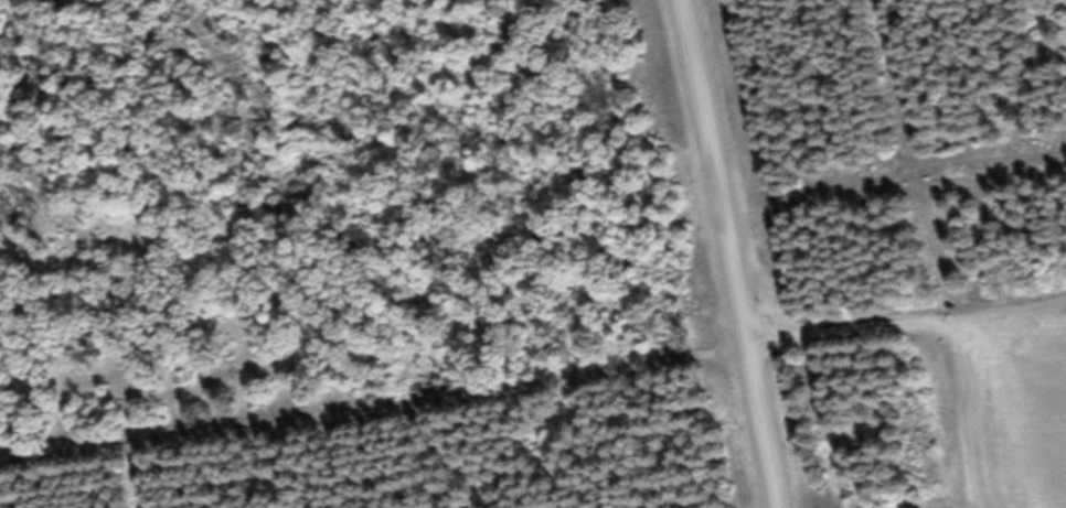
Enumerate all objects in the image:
road: (731, 253)
road: (848, 334)
road: (375, 412)

